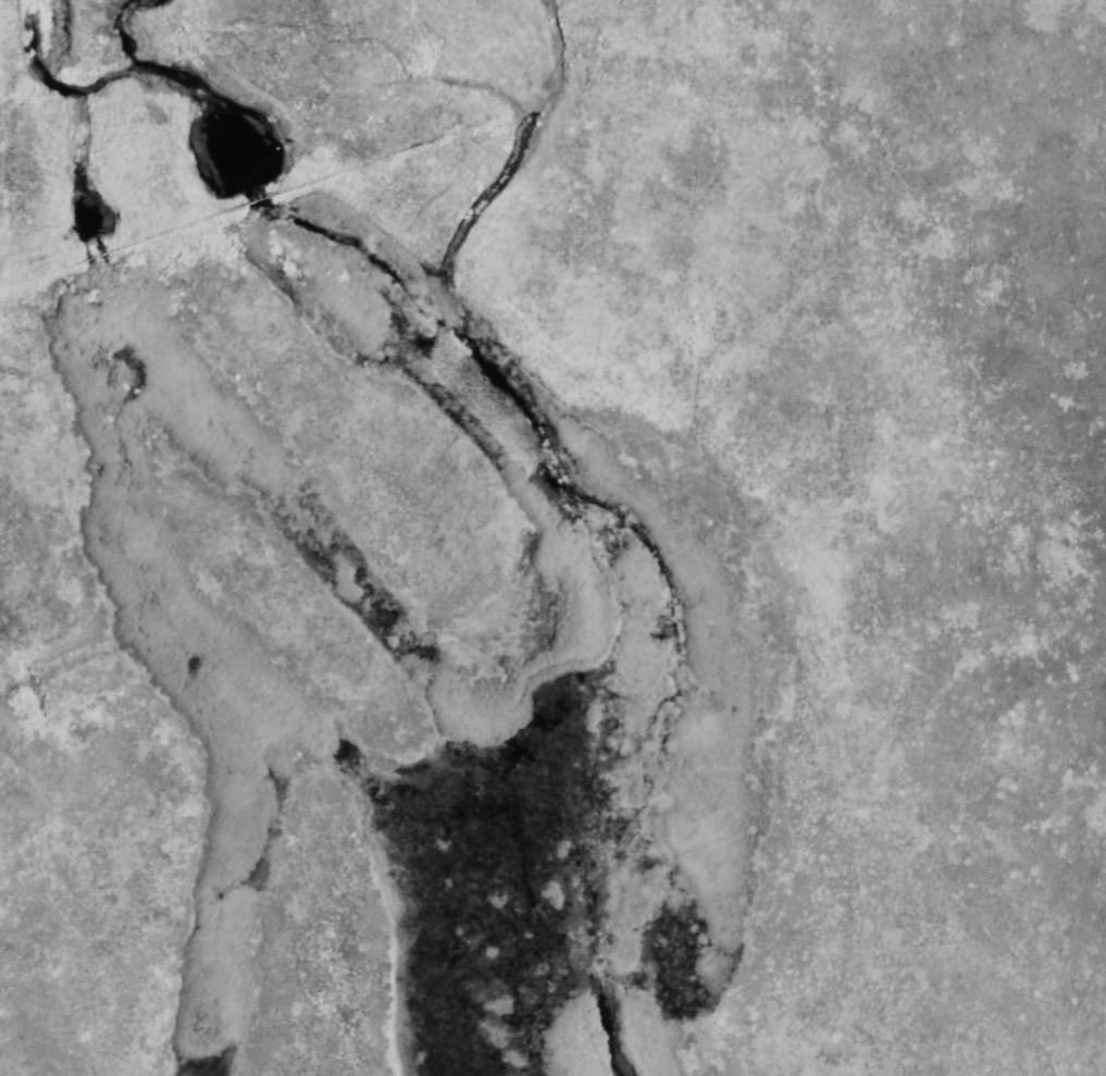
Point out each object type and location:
crop: (552, 537)

